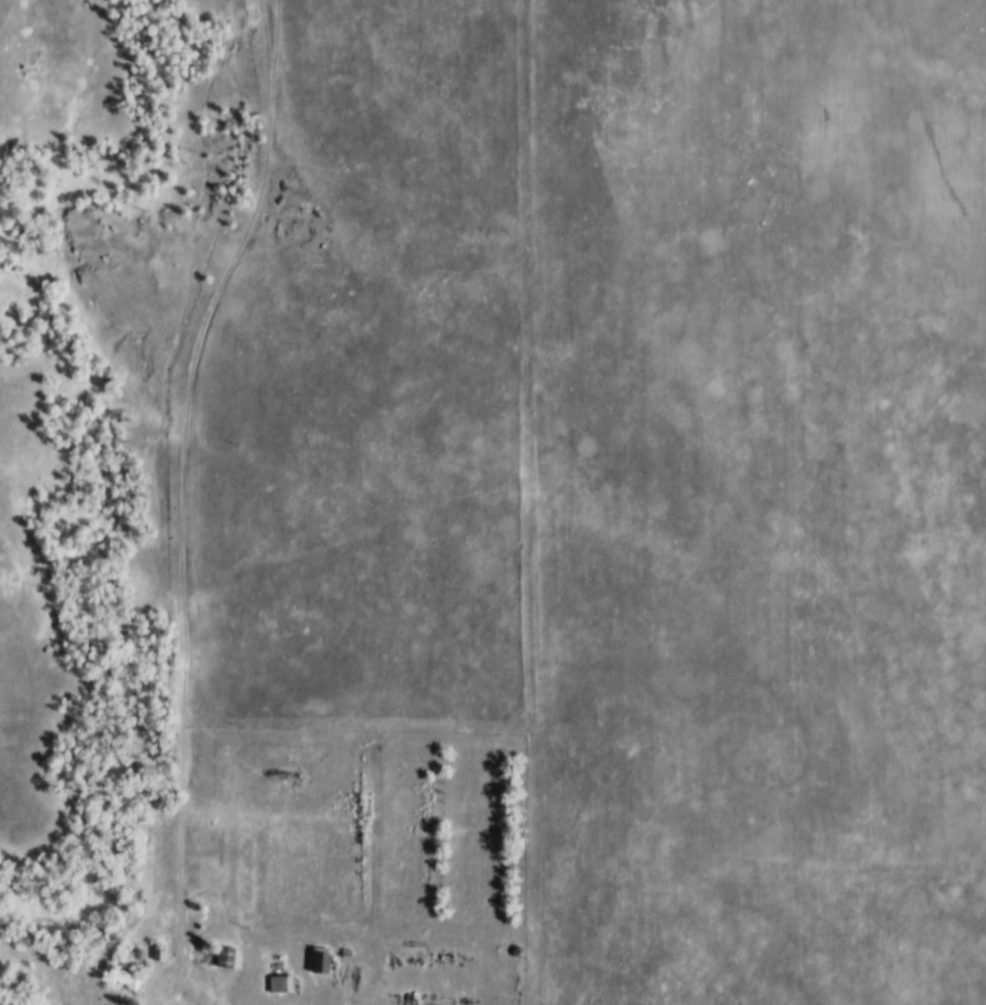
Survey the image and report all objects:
road: (179, 500)
building: (225, 958)
building: (320, 961)
building: (120, 978)
building: (277, 985)

